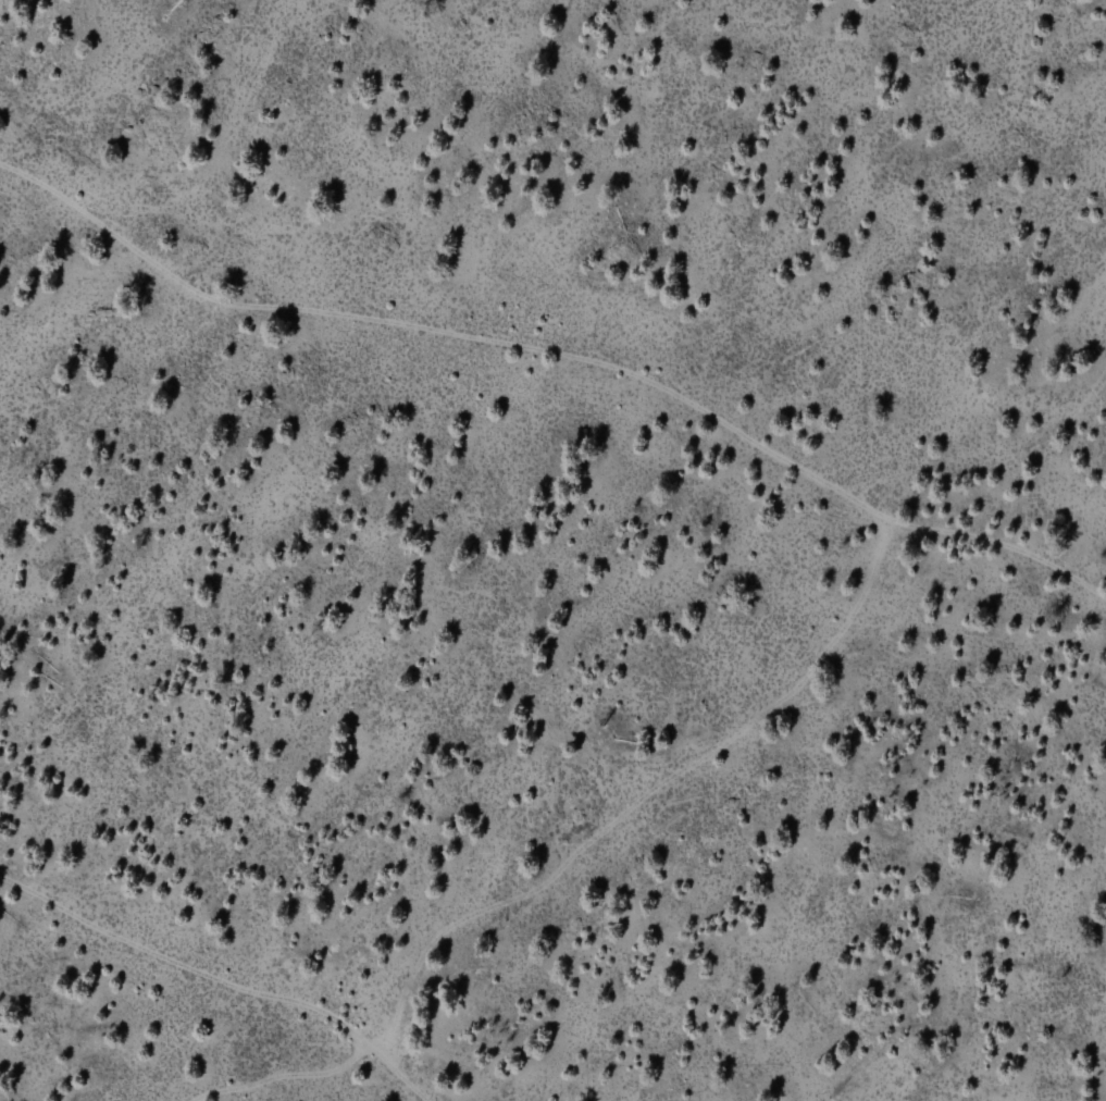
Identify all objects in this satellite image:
road: (560, 356)
road: (221, 981)
road: (153, 1018)

